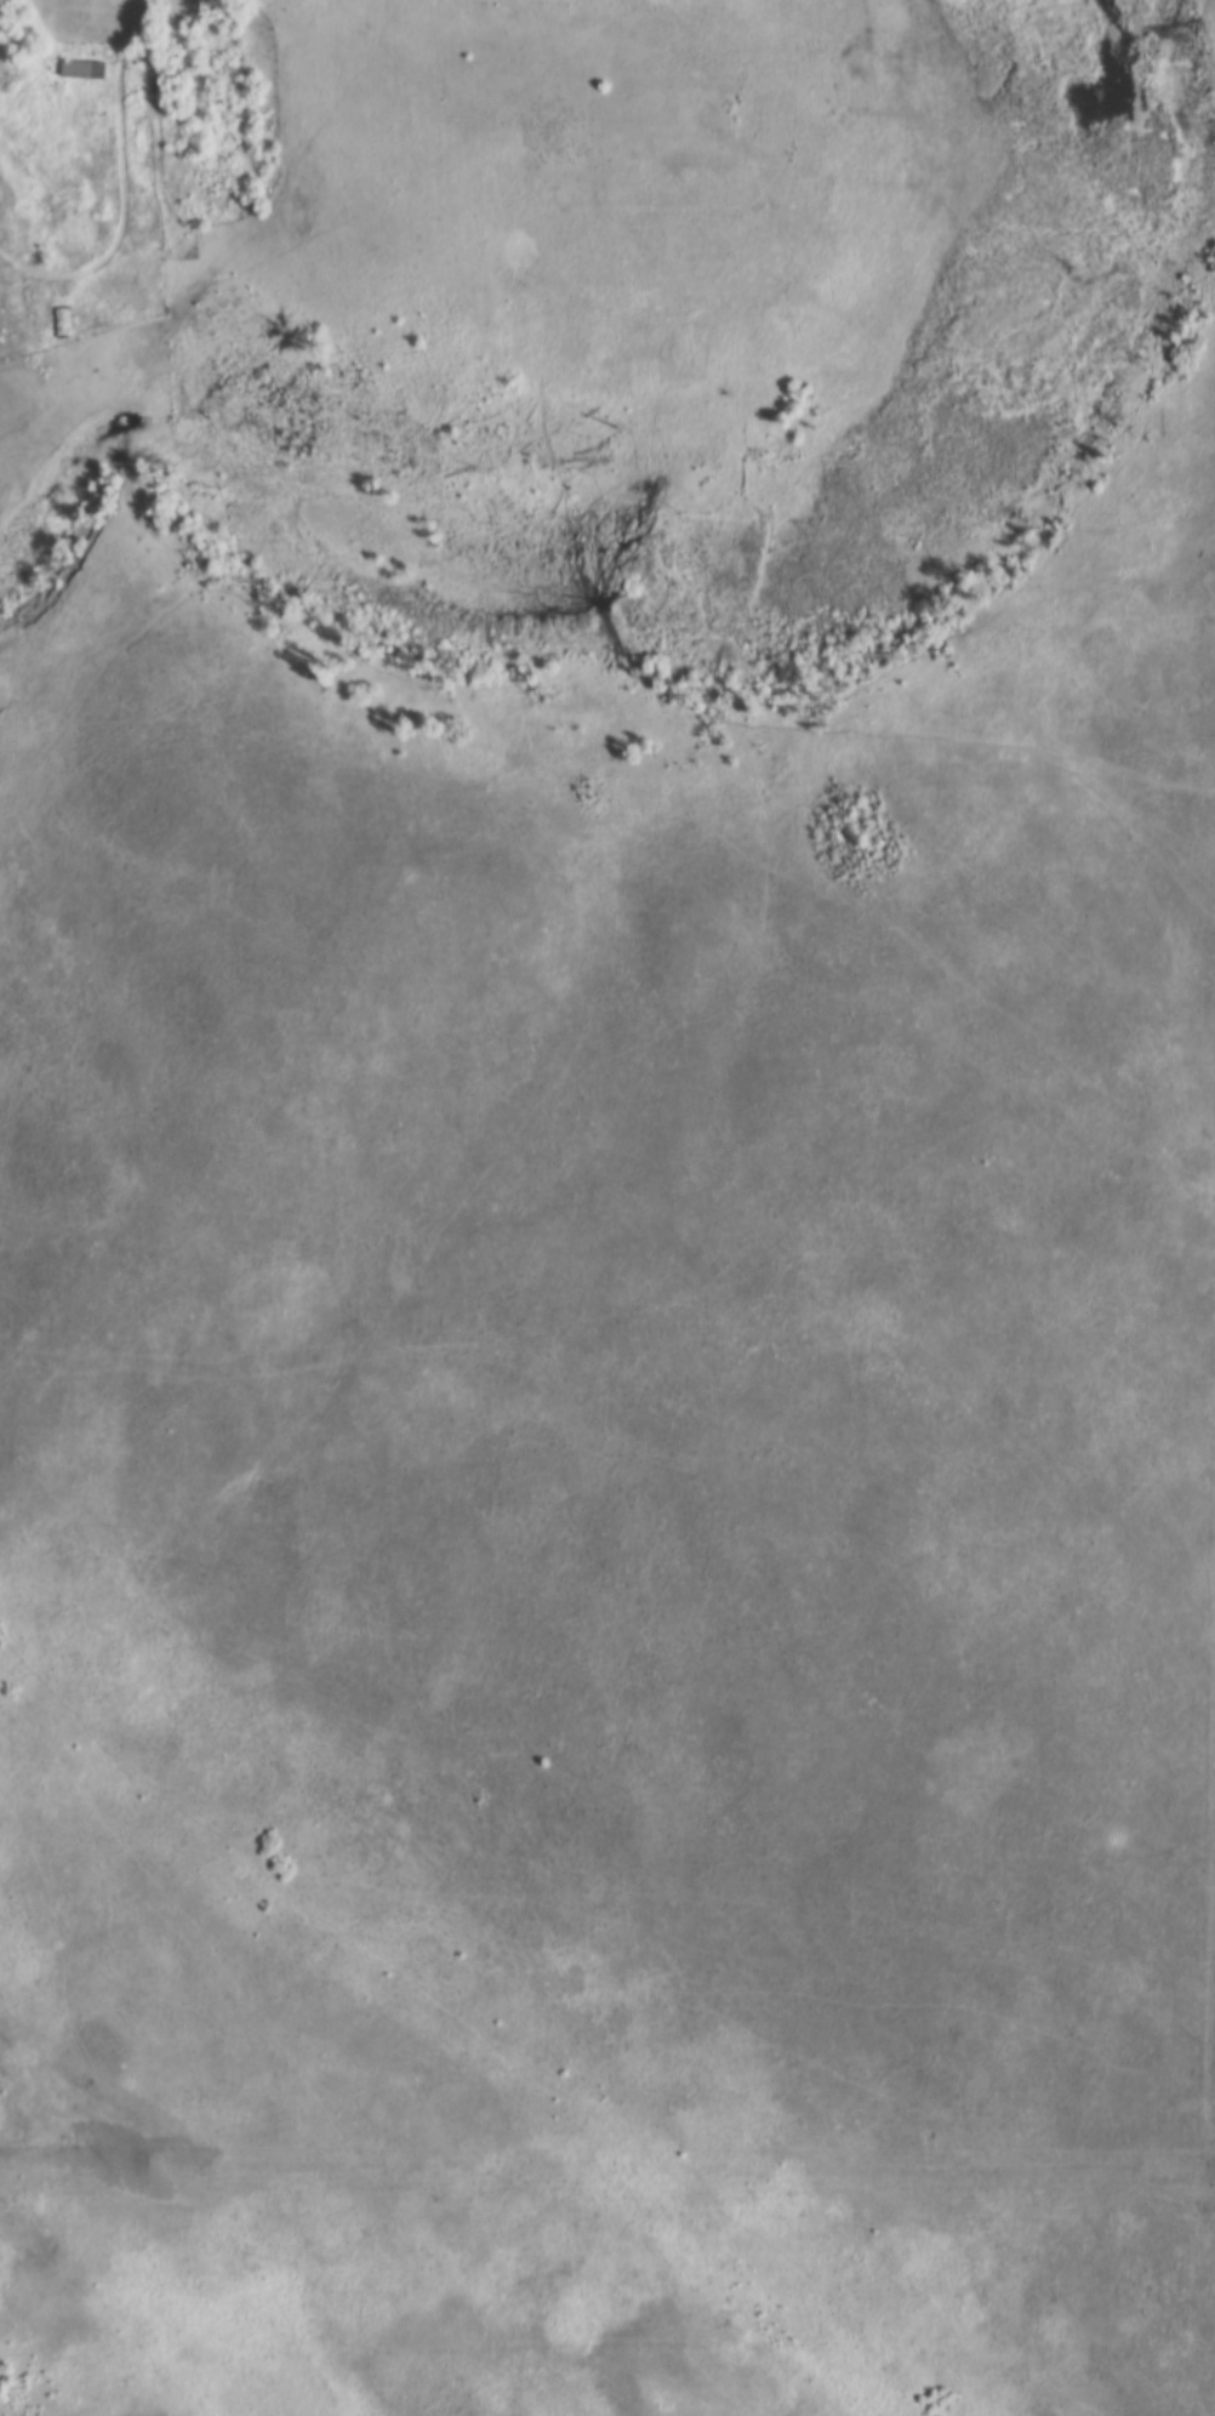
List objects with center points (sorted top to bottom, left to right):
building: (82, 70)
building: (63, 323)

